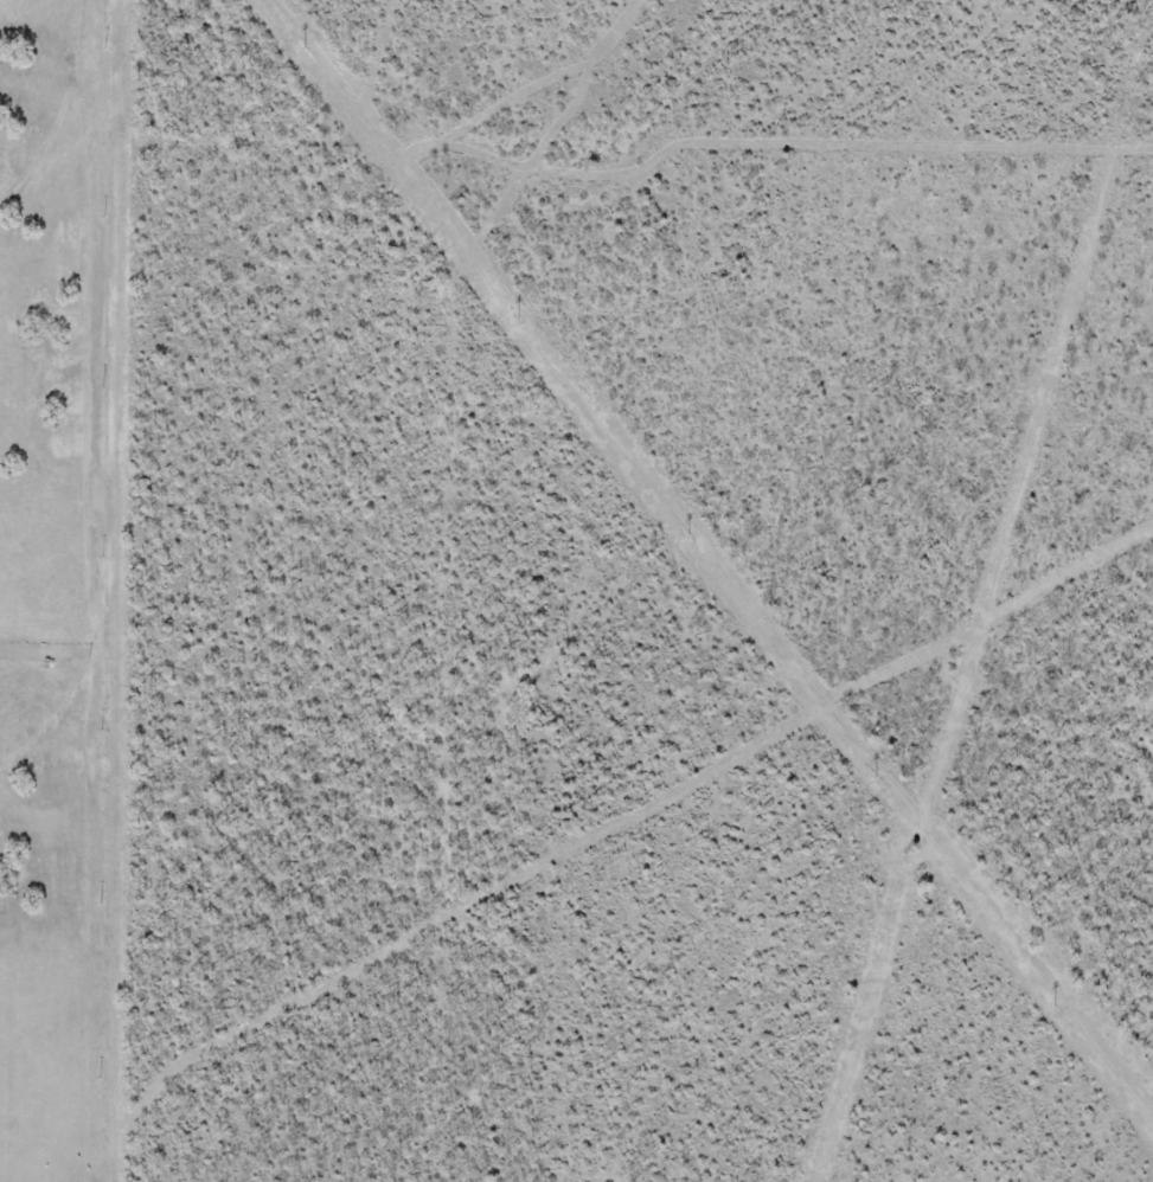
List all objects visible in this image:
power tower: (303, 47)
power tower: (518, 320)
power tower: (687, 537)
power tower: (877, 778)
power tower: (1056, 1006)

